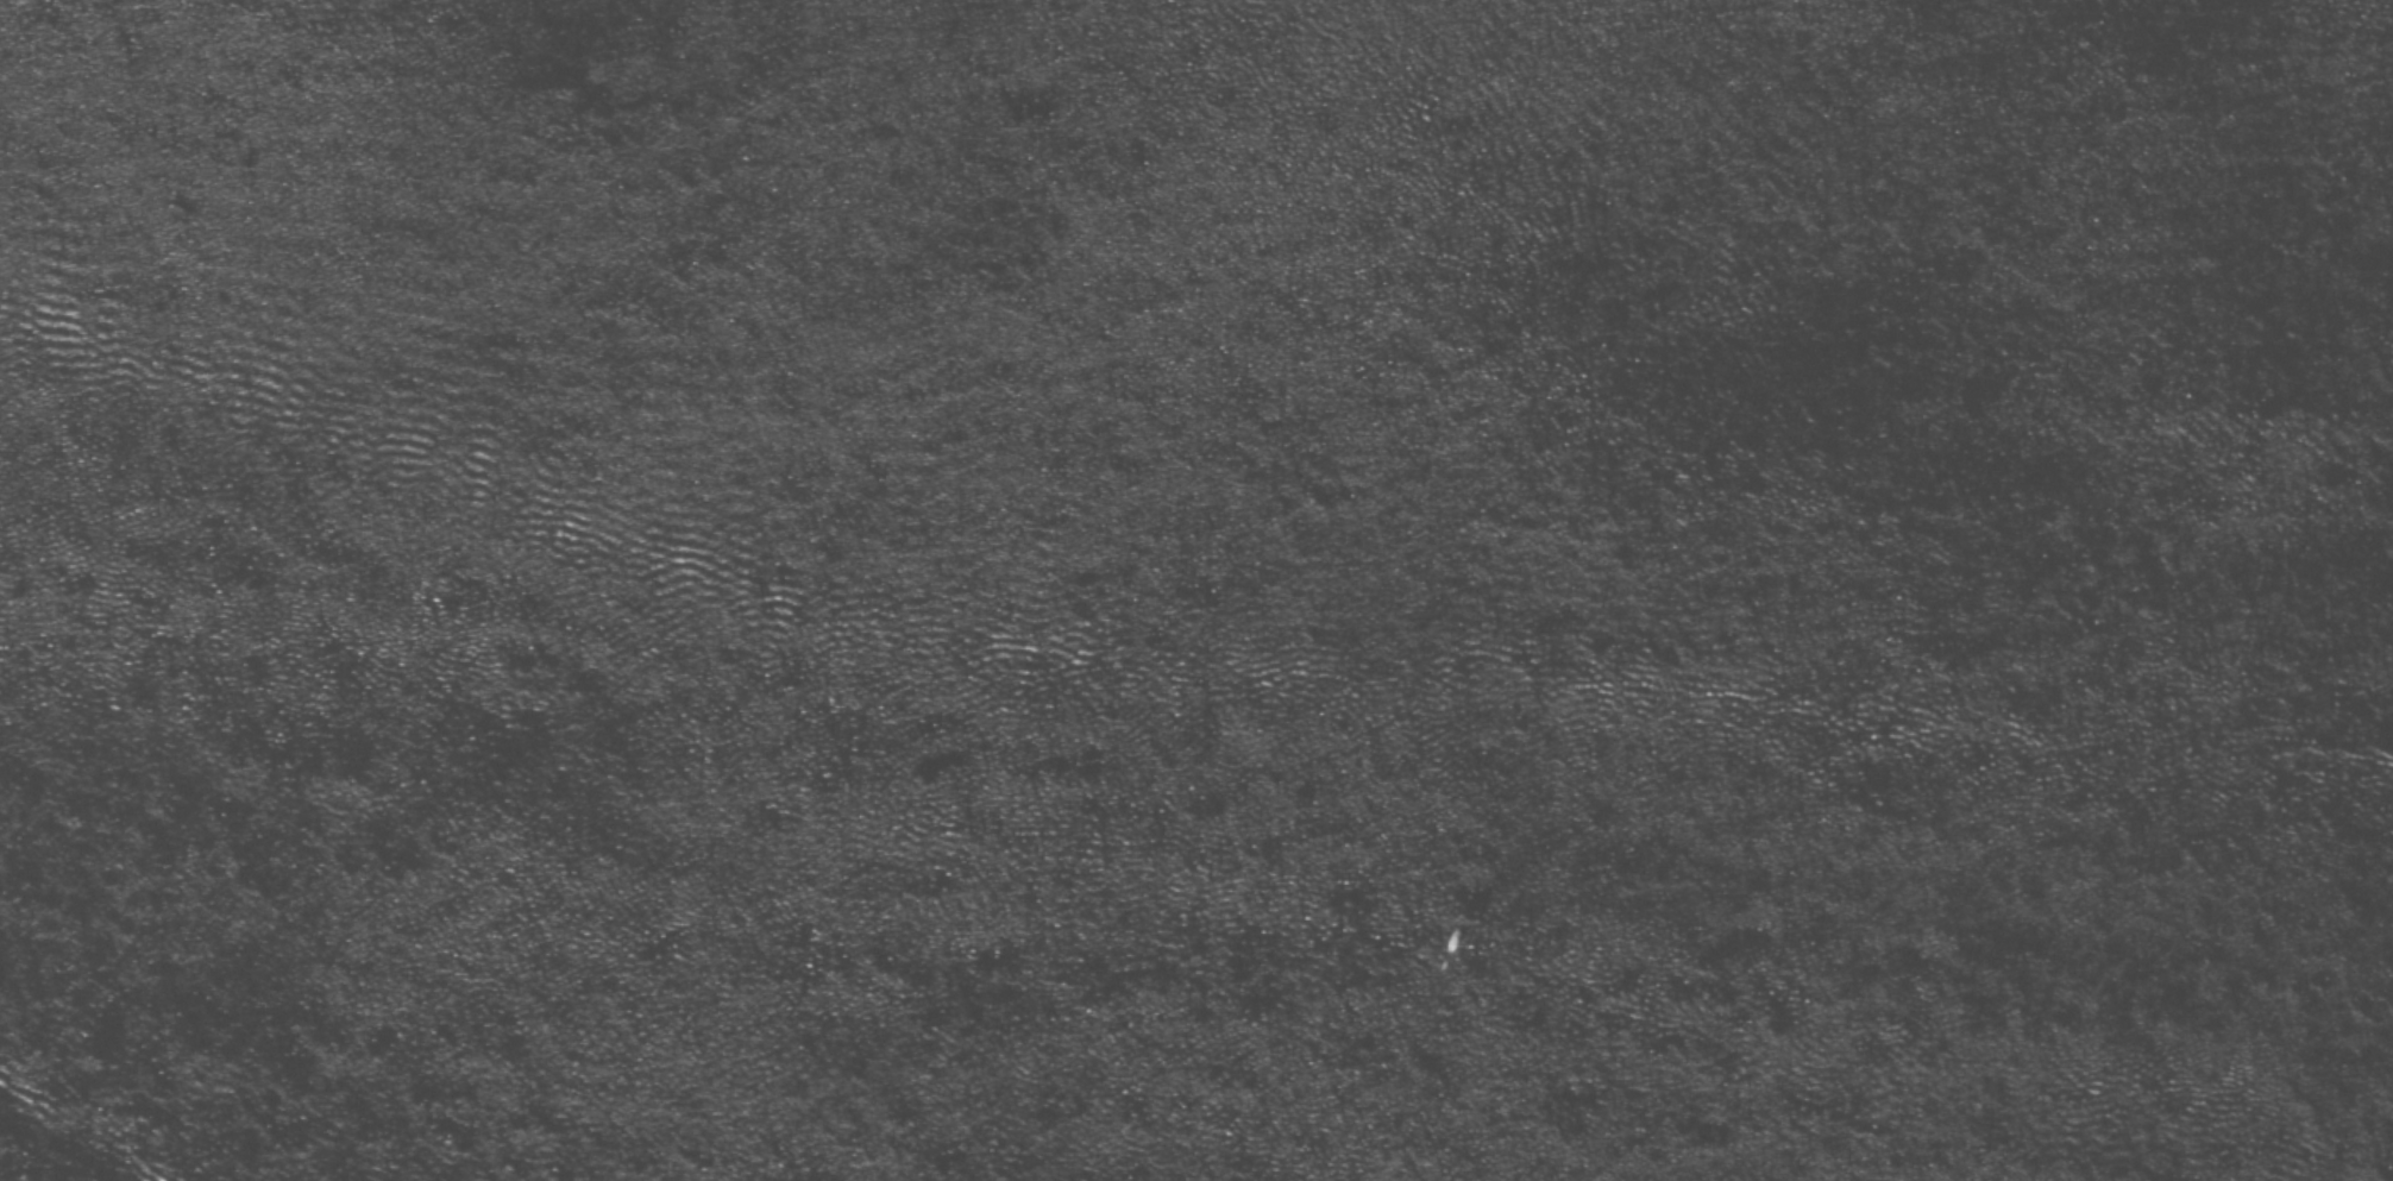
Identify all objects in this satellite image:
river: (1147, 837)

